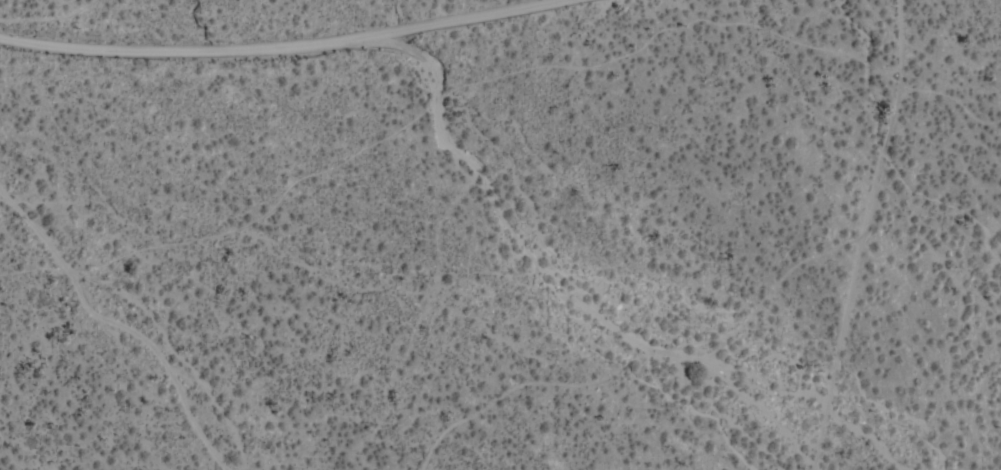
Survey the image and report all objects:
road: (270, 43)
road: (861, 235)

